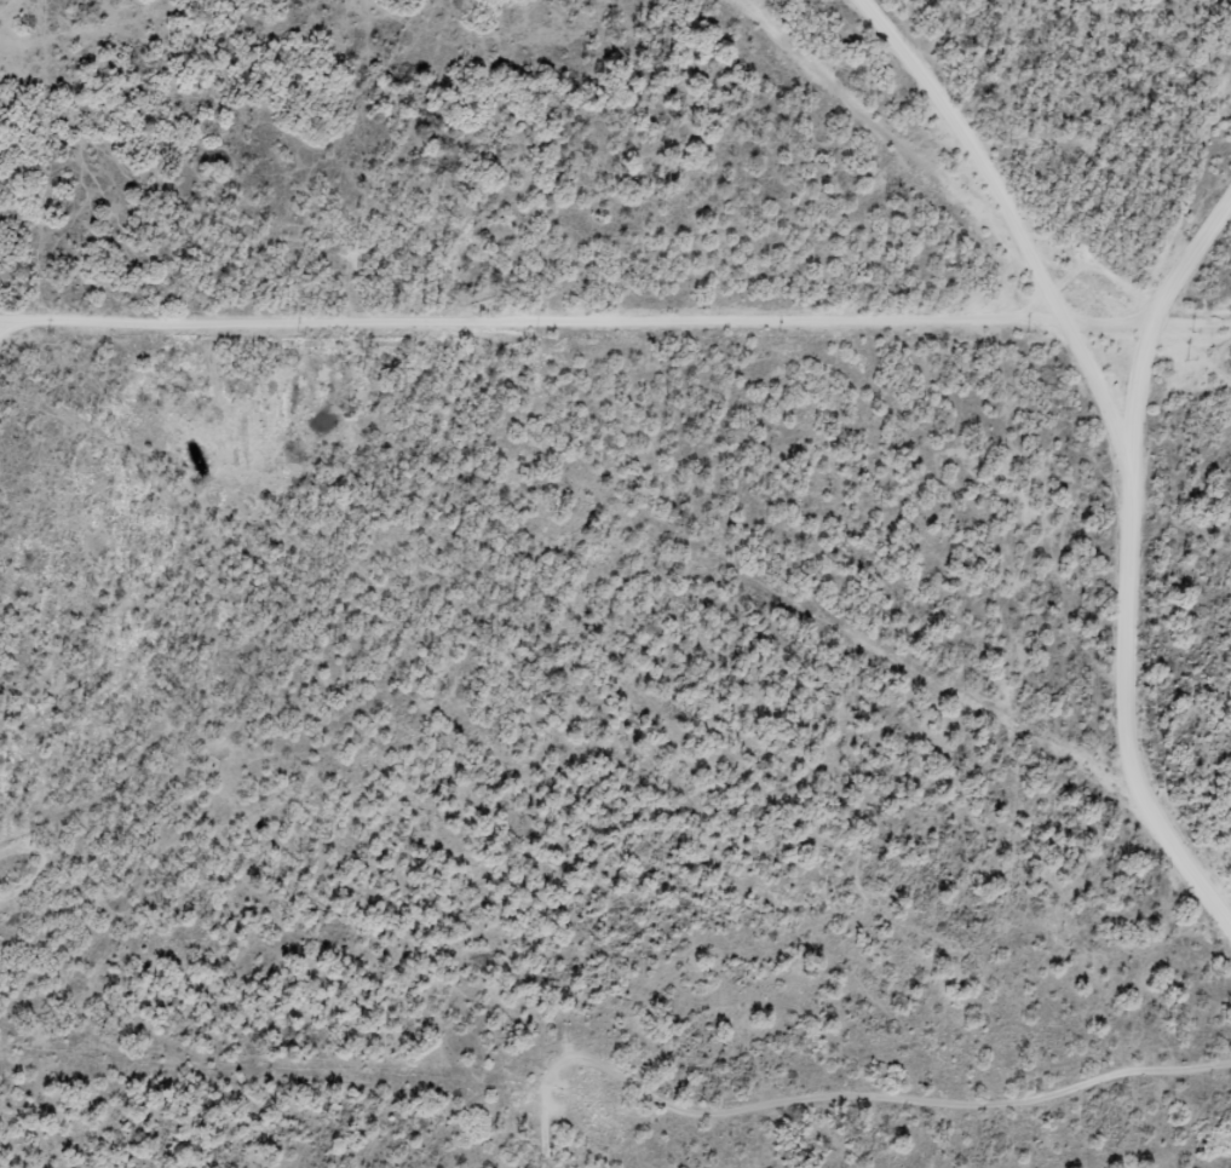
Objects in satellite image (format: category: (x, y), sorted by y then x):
road: (1070, 146)
road: (1221, 283)
road: (573, 350)
road: (596, 511)
road: (1145, 583)
road: (890, 1081)

